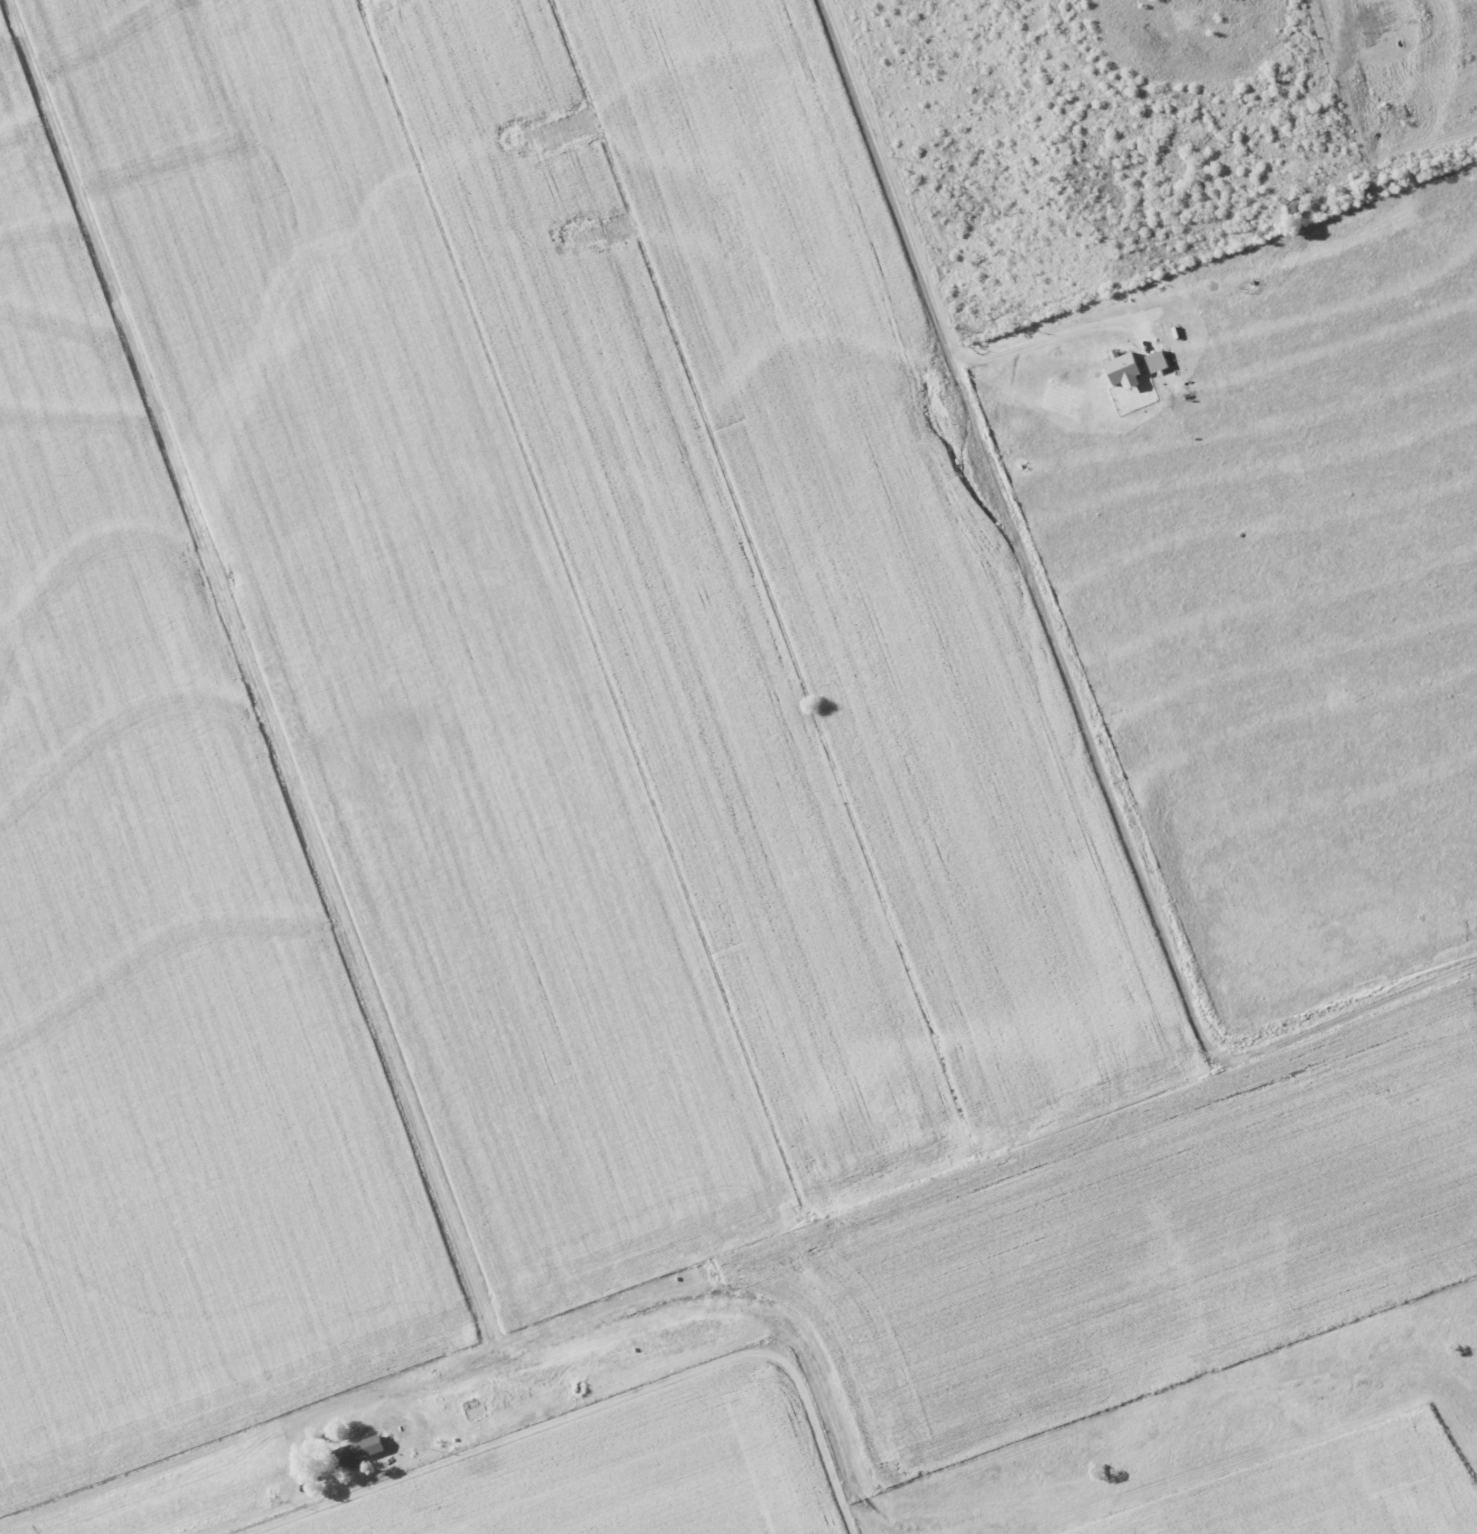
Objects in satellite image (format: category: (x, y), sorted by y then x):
road: (921, 272)
building: (1153, 362)
building: (1120, 371)
road: (580, 1412)
road: (845, 1514)

